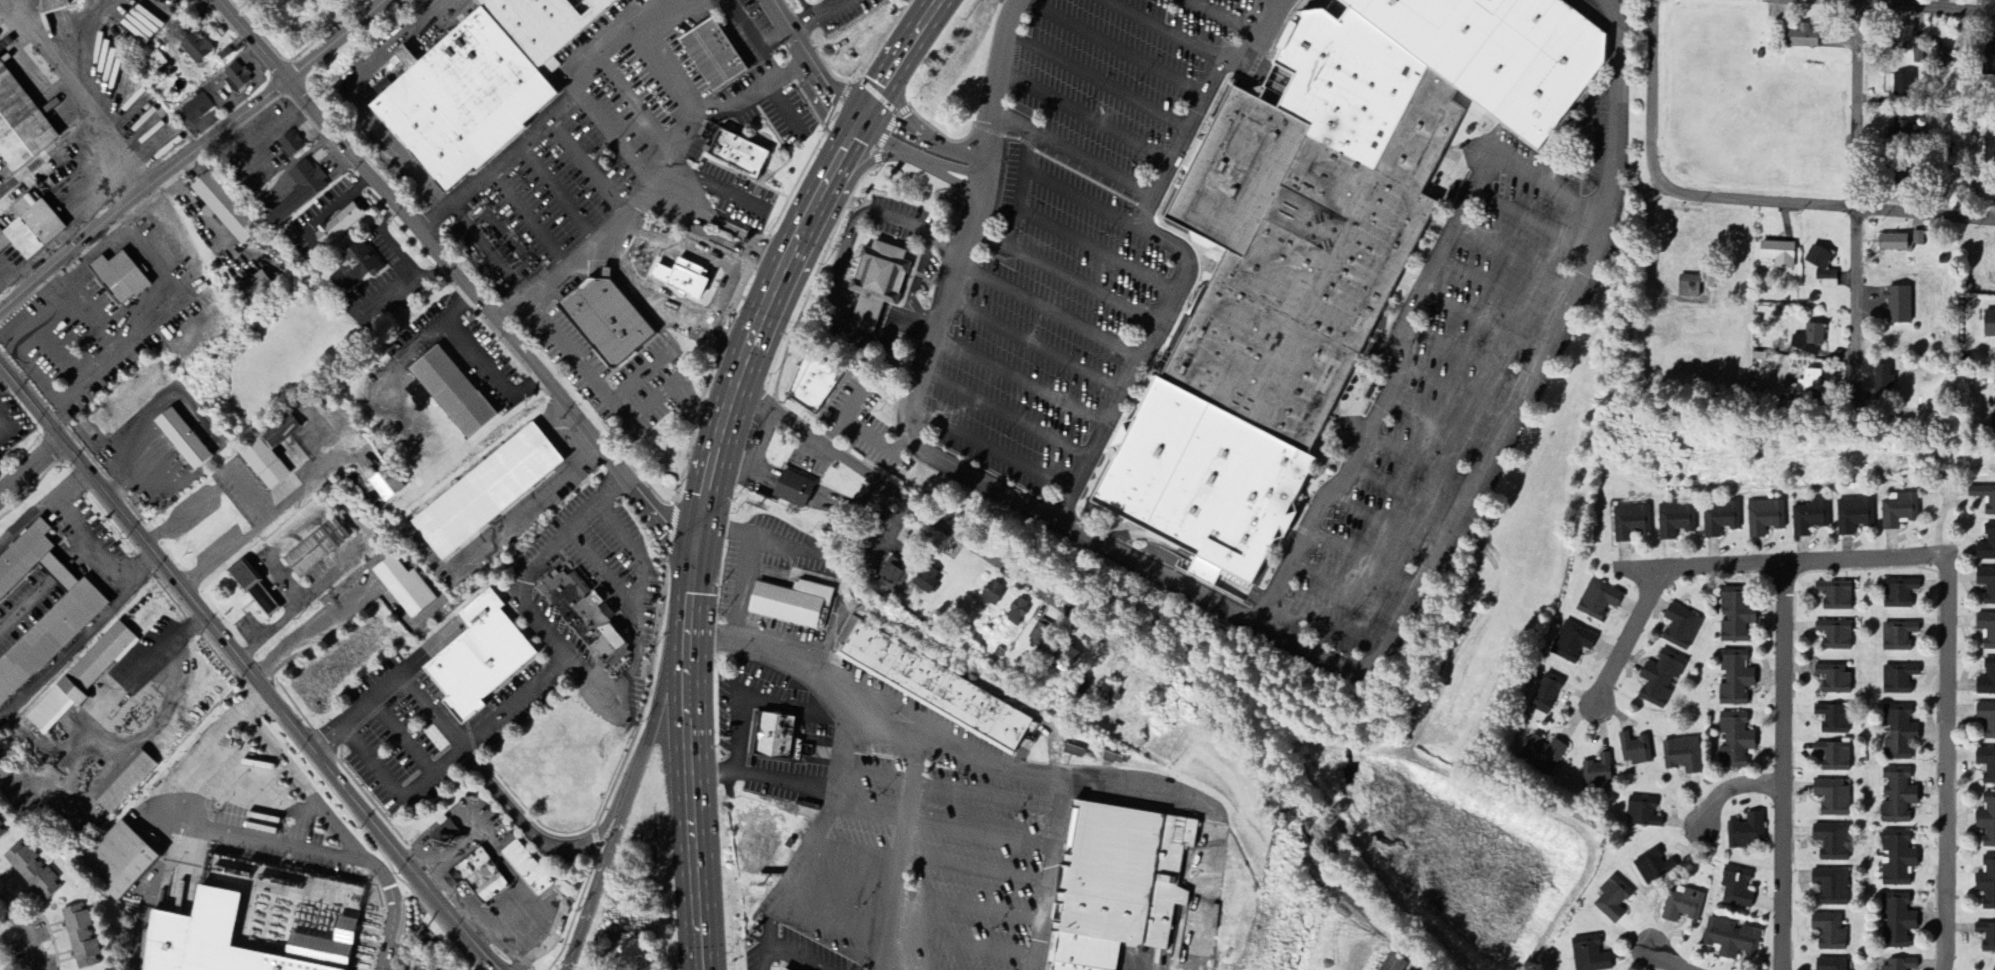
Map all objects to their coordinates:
building: (632, 0)
road: (684, 1)
road: (1274, 2)
building: (55, 5)
road: (815, 6)
road: (830, 6)
road: (1898, 8)
road: (739, 14)
road: (1224, 18)
road: (804, 19)
road: (1163, 31)
building: (1802, 38)
building: (1901, 39)
road: (1108, 47)
building: (195, 48)
building: (711, 56)
building: (1917, 56)
building: (1989, 61)
road: (813, 62)
road: (670, 74)
building: (235, 77)
road: (1094, 79)
building: (481, 84)
building: (1902, 86)
road: (1201, 98)
road: (349, 101)
road: (784, 108)
building: (196, 109)
road: (554, 115)
road: (1082, 115)
traffic signals: (859, 121)
road: (868, 125)
building: (19, 126)
building: (1900, 131)
road: (929, 141)
building: (290, 145)
road: (55, 149)
building: (1989, 153)
road: (190, 154)
building: (737, 154)
road: (1069, 155)
road: (920, 162)
road: (1518, 172)
building: (1347, 186)
road: (101, 188)
road: (653, 188)
road: (716, 189)
building: (299, 192)
road: (1017, 192)
road: (1855, 195)
road: (1085, 198)
road: (1731, 203)
road: (678, 205)
building: (223, 208)
road: (528, 219)
road: (1532, 221)
road: (701, 223)
building: (338, 225)
building: (30, 227)
building: (1918, 238)
building: (1892, 244)
road: (1093, 250)
road: (768, 254)
building: (1778, 254)
road: (1515, 256)
road: (699, 257)
building: (1818, 258)
building: (354, 269)
road: (15, 273)
road: (1062, 277)
building: (118, 278)
road: (456, 278)
building: (1827, 280)
building: (873, 283)
building: (1688, 287)
road: (1498, 289)
building: (251, 290)
road: (662, 299)
building: (1897, 306)
road: (1047, 309)
building: (604, 319)
road: (1480, 323)
building: (1989, 325)
building: (1808, 340)
road: (1033, 343)
road: (1463, 356)
road: (471, 358)
road: (1136, 362)
building: (1882, 379)
road: (1018, 381)
building: (1807, 383)
building: (810, 387)
road: (1453, 391)
building: (451, 392)
road: (1386, 396)
road: (615, 403)
road: (1002, 415)
road: (1437, 426)
road: (719, 436)
building: (181, 439)
road: (989, 450)
building: (268, 452)
road: (1419, 460)
road: (30, 471)
building: (1199, 483)
building: (385, 484)
building: (793, 490)
building: (486, 492)
road: (1401, 495)
building: (1984, 498)
road: (535, 503)
building: (1899, 511)
building: (1854, 516)
road: (26, 517)
building: (1764, 518)
building: (1809, 518)
building: (1719, 519)
building: (1675, 520)
road: (936, 521)
parking lot: (627, 522)
building: (1630, 522)
road: (1379, 525)
road: (90, 536)
building: (1987, 545)
building: (315, 548)
parking lot: (611, 551)
road: (749, 560)
road: (1361, 560)
traffic signals: (691, 563)
parking lot: (581, 564)
road: (600, 569)
building: (891, 575)
building: (926, 580)
building: (1987, 585)
building: (254, 589)
road: (1345, 590)
road: (636, 594)
building: (1898, 594)
building: (992, 595)
building: (1834, 595)
building: (1597, 600)
road: (1945, 603)
building: (792, 604)
road: (529, 607)
parking lot: (648, 610)
building: (583, 611)
building: (1016, 613)
building: (1735, 615)
road: (1328, 622)
road: (1259, 624)
building: (1680, 628)
building: (1986, 630)
road: (313, 631)
building: (54, 632)
building: (1039, 633)
building: (1834, 635)
building: (1897, 637)
parking lot: (570, 639)
road: (1629, 639)
building: (1571, 643)
road: (165, 649)
road: (68, 653)
building: (477, 656)
road: (561, 664)
road: (247, 670)
building: (81, 678)
building: (1659, 679)
building: (1734, 679)
building: (1897, 679)
building: (1987, 679)
building: (1833, 680)
building: (933, 687)
parking lot: (636, 689)
building: (1545, 695)
building: (1106, 697)
parking lot: (518, 701)
road: (507, 708)
building: (1832, 719)
building: (1986, 719)
building: (1898, 732)
road: (324, 733)
road: (399, 735)
parking lot: (397, 736)
building: (776, 738)
road: (952, 740)
building: (1734, 741)
road: (333, 743)
road: (462, 745)
building: (1075, 749)
building: (1634, 750)
building: (1541, 755)
building: (1682, 756)
building: (1115, 757)
building: (1833, 757)
building: (1986, 765)
road: (1779, 767)
building: (1597, 773)
building: (124, 783)
road: (1730, 789)
building: (1897, 796)
building: (1832, 798)
road: (870, 800)
road: (627, 801)
building: (1642, 813)
road: (826, 814)
road: (330, 819)
building: (1987, 821)
road: (207, 830)
building: (2, 831)
building: (1746, 832)
building: (443, 833)
building: (1832, 842)
road: (550, 846)
road: (902, 847)
building: (1897, 859)
building: (120, 861)
building: (526, 868)
building: (1653, 868)
parking lot: (899, 869)
building: (31, 871)
building: (481, 877)
building: (1987, 883)
building: (1129, 887)
building: (1831, 887)
building: (1736, 888)
building: (1612, 900)
building: (1682, 906)
building: (1896, 922)
road: (27, 932)
building: (1828, 932)
building: (80, 935)
building: (1986, 937)
building: (205, 939)
building: (1730, 939)
road: (700, 948)
road: (796, 954)
building: (1589, 954)
road: (1663, 959)
building: (1392, 963)
building: (1830, 964)
building: (1900, 965)
parking lot: (419, 967)
building: (783, 969)

